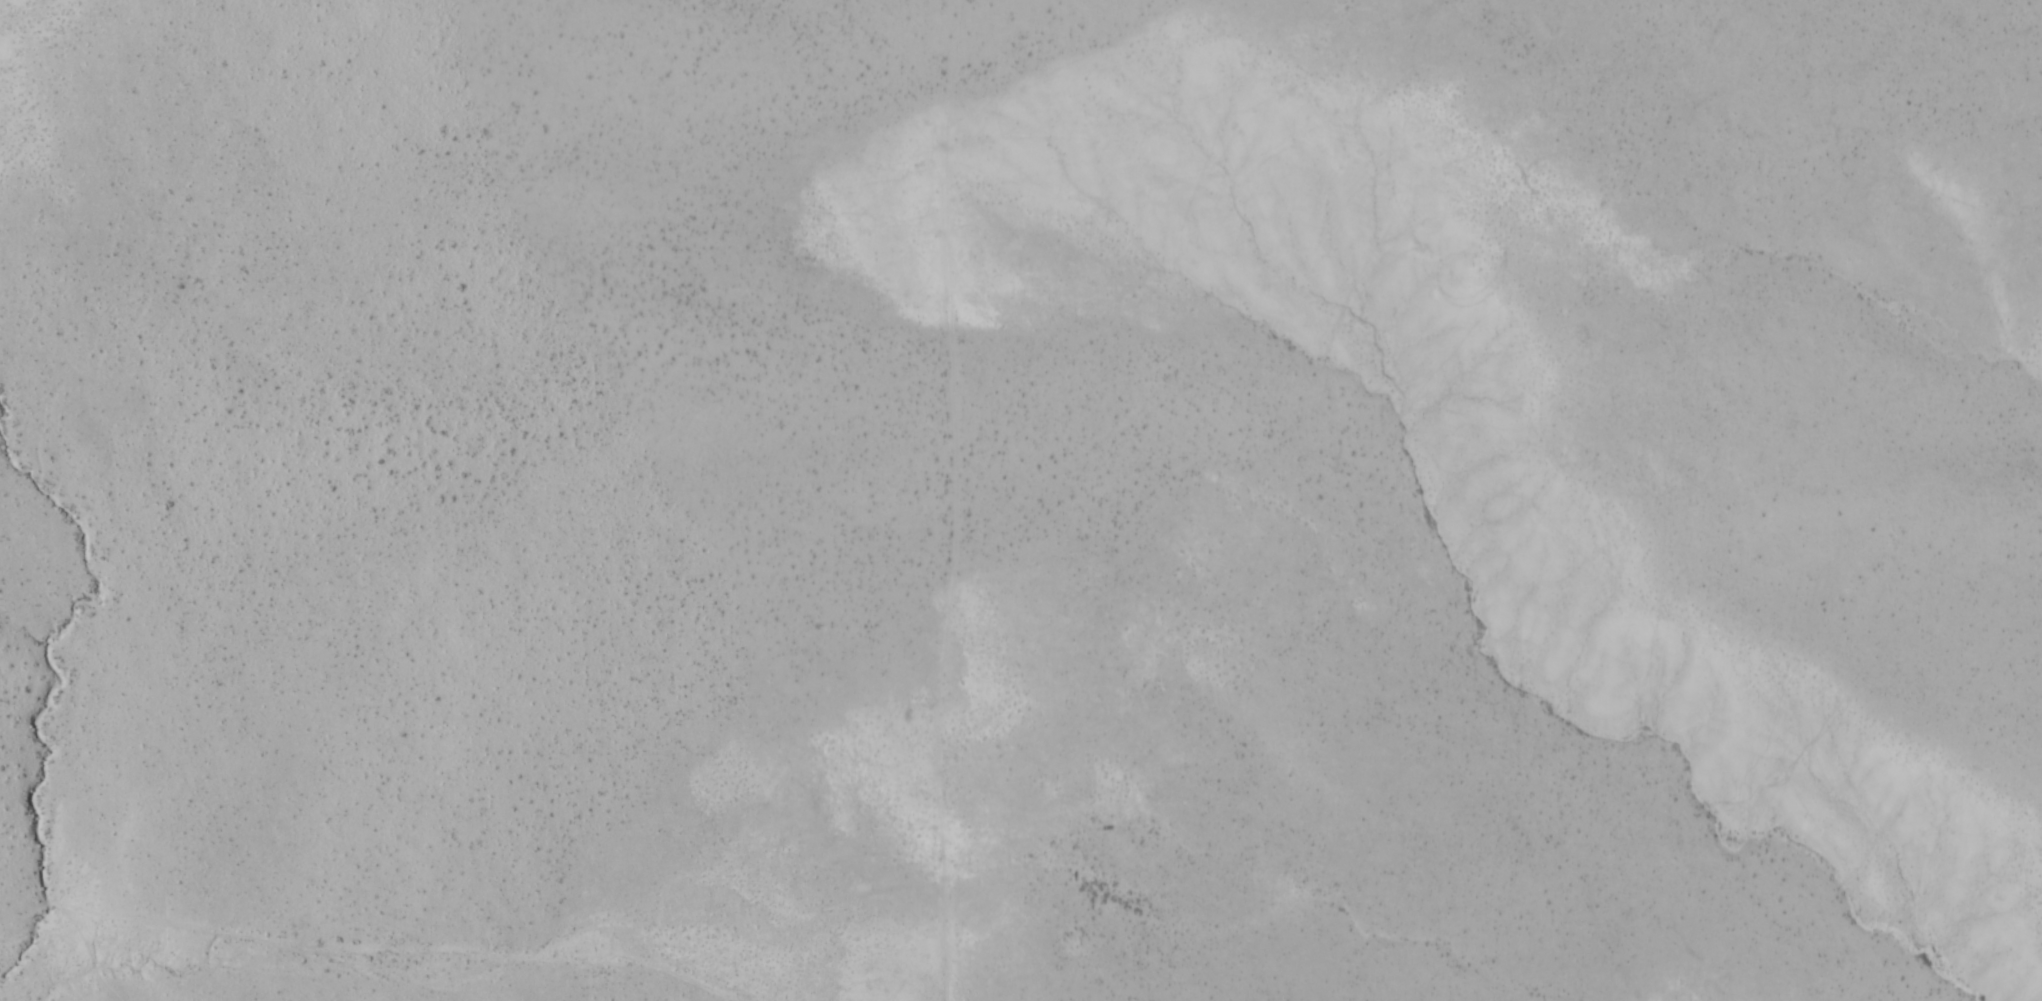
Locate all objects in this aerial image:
road: (972, 501)

